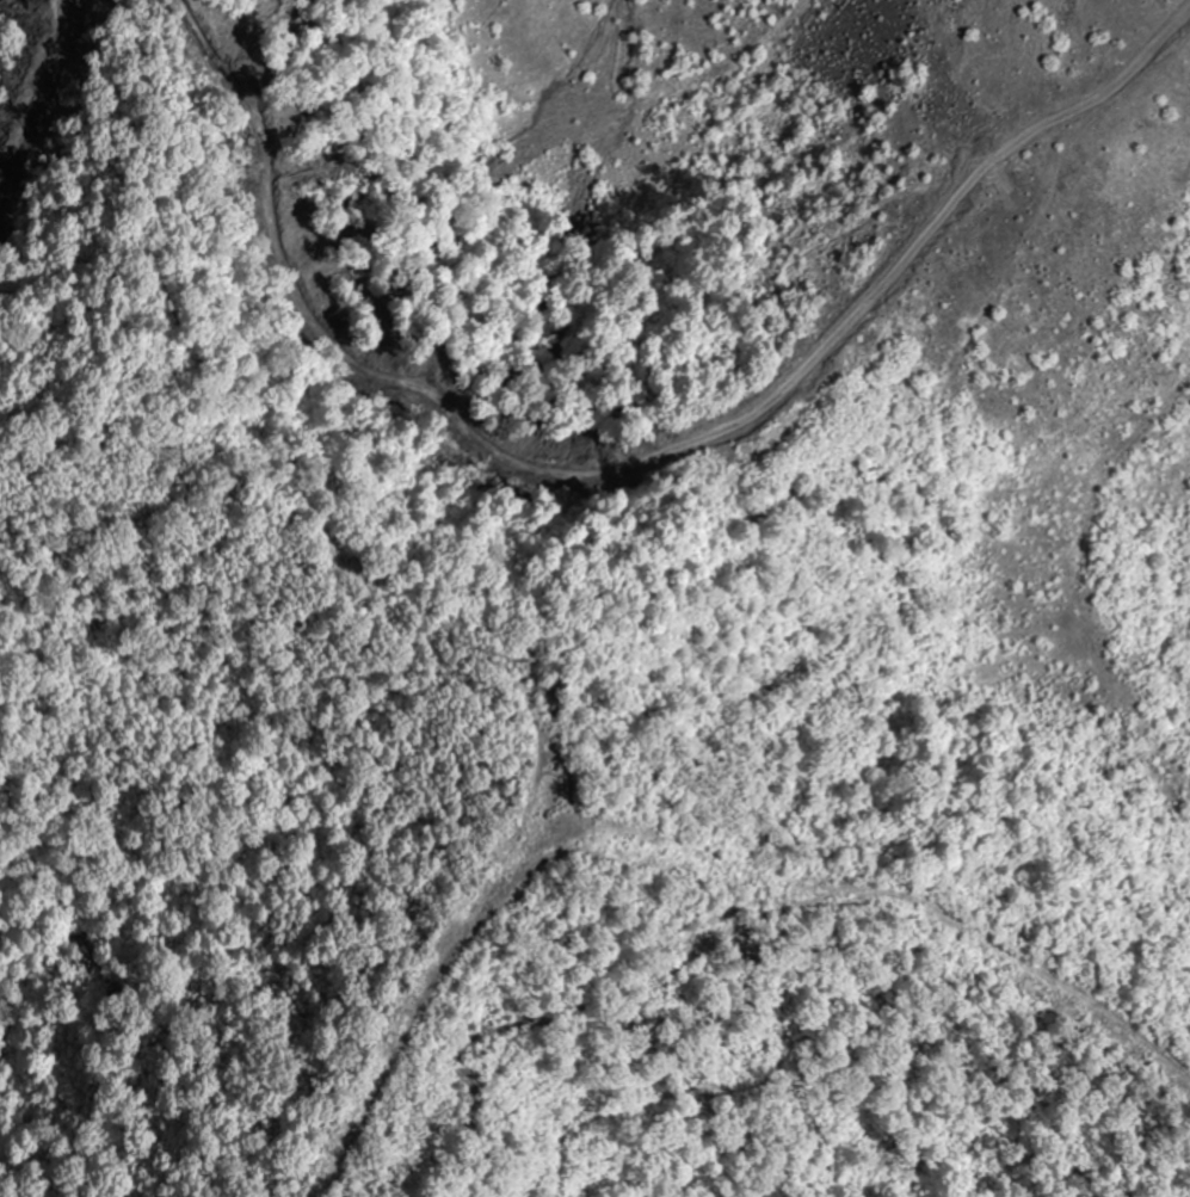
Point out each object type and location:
road: (497, 960)

